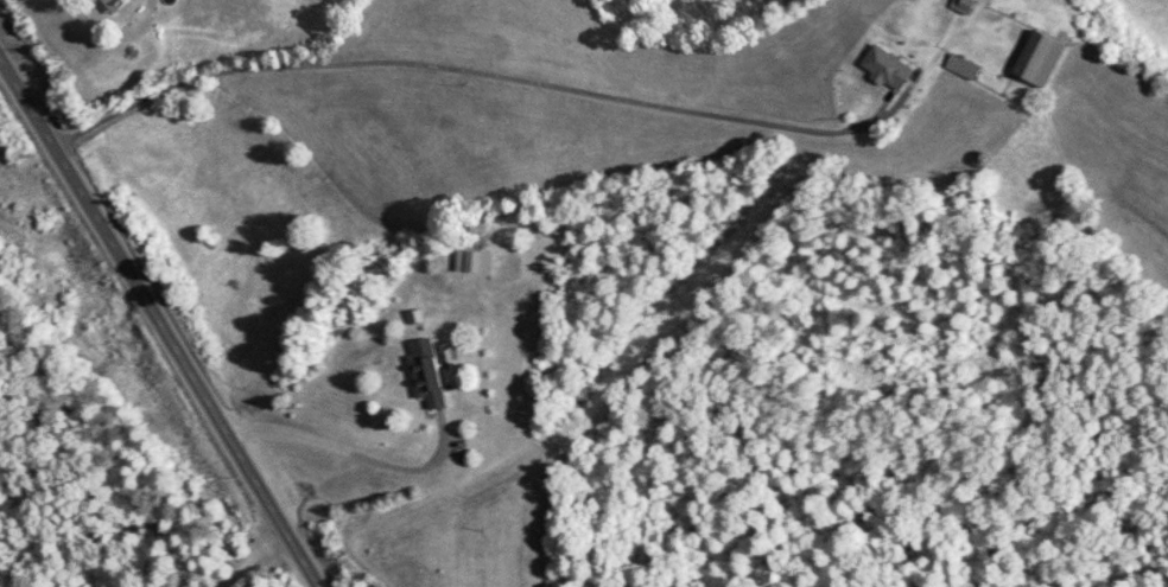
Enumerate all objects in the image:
building: (115, 4)
building: (961, 5)
building: (1037, 59)
building: (887, 68)
road: (470, 70)
road: (158, 326)
building: (426, 372)
road: (256, 555)

